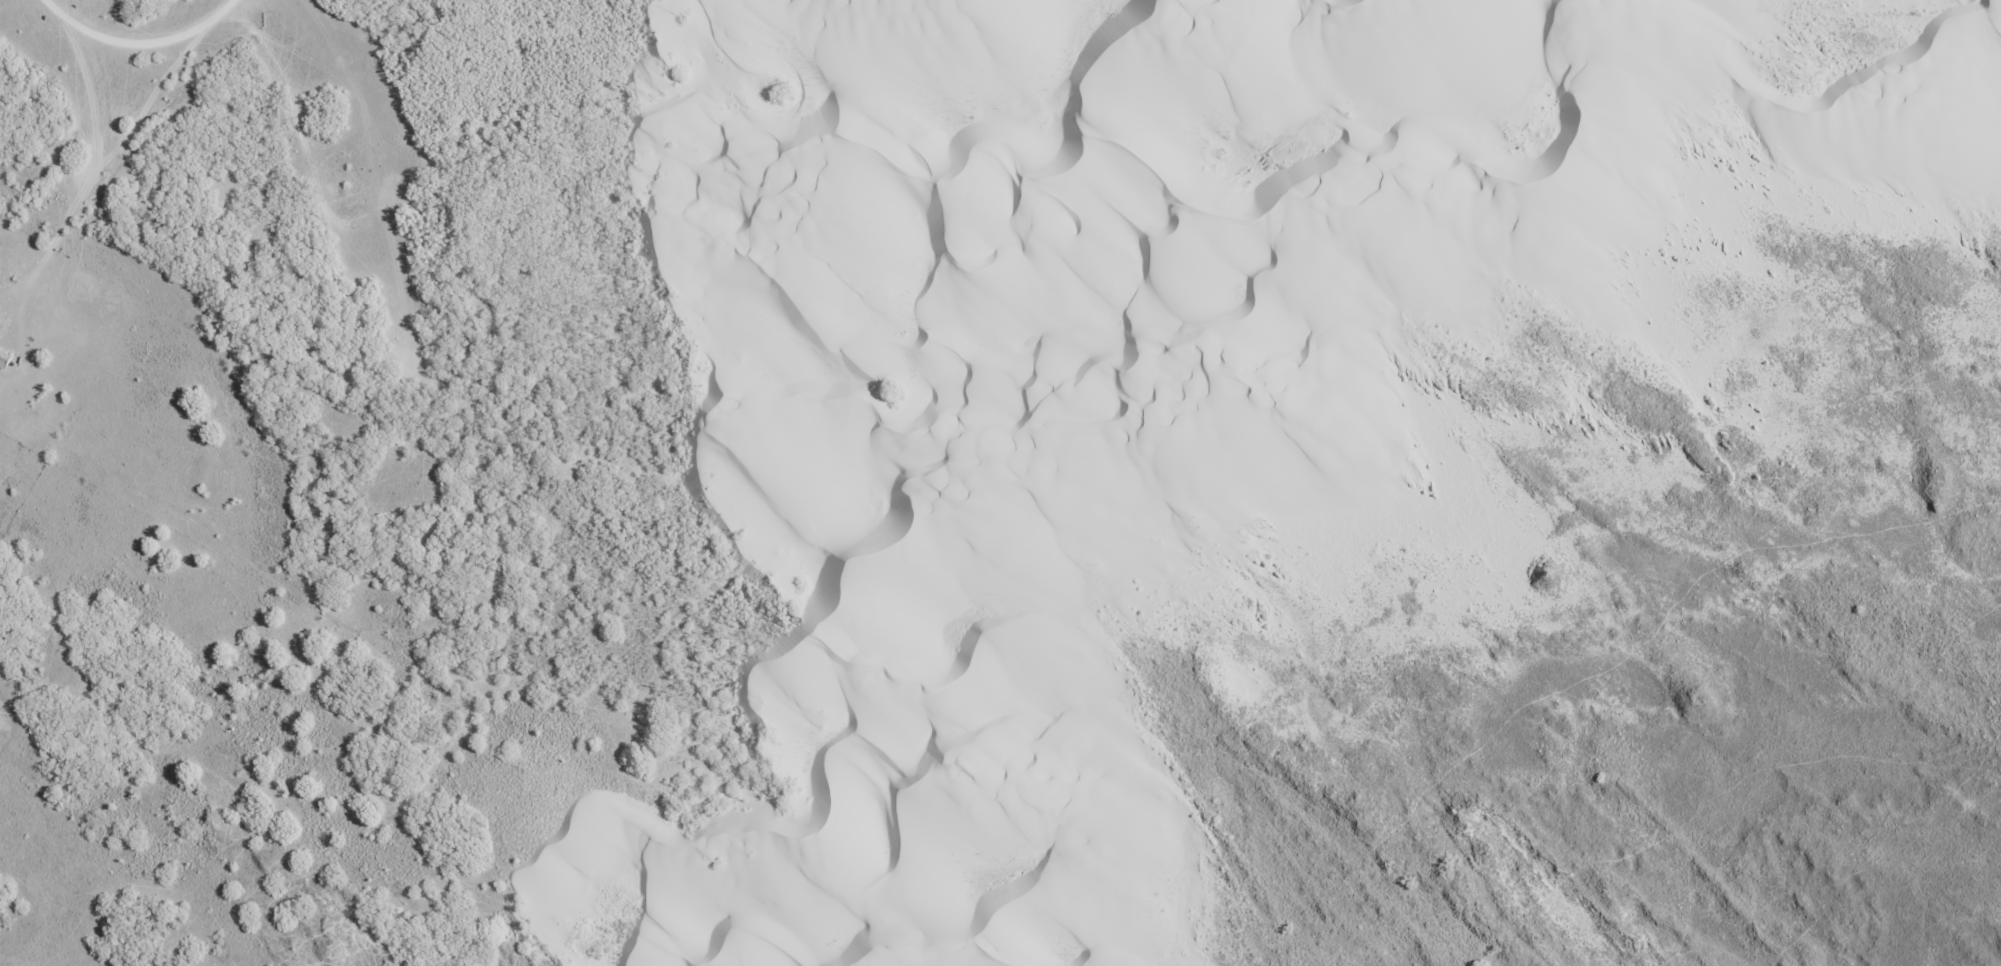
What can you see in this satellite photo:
road: (129, 27)
building: (344, 194)
building: (4, 360)
road: (778, 585)

